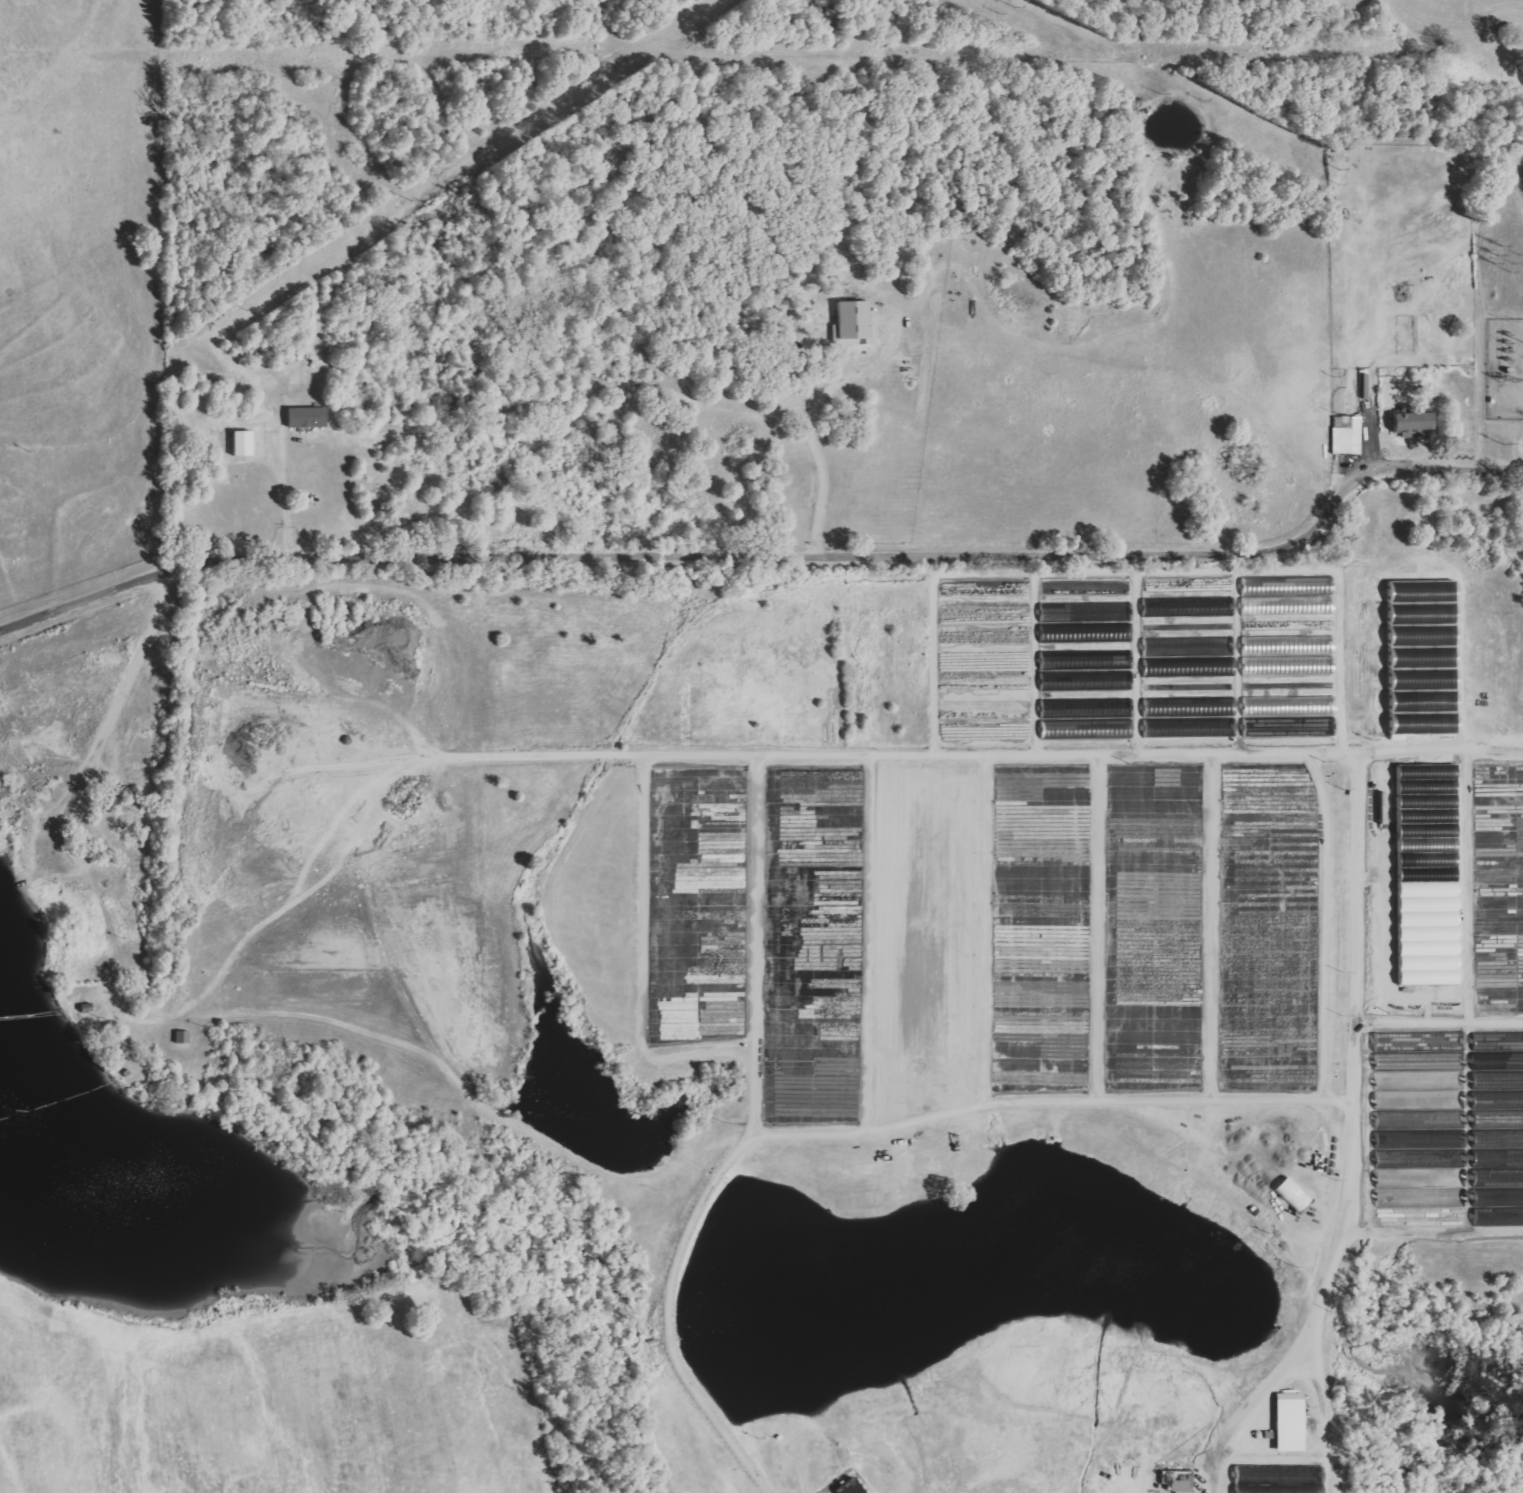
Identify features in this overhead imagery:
power tower: (1138, 71)
power tower: (565, 102)
power tower: (1339, 170)
power tower: (409, 201)
power tower: (1506, 251)
power tower: (244, 312)
building: (858, 324)
power tower: (1507, 350)
power tower: (1507, 380)
road: (811, 417)
building: (311, 418)
building: (1418, 424)
building: (1350, 435)
building: (248, 443)
power tower: (1500, 446)
power tower: (27, 451)
road: (283, 494)
road: (860, 552)
building: (1317, 585)
building: (1278, 598)
road: (83, 600)
building: (1191, 608)
building: (1281, 653)
building: (1193, 658)
building: (1429, 658)
building: (1292, 716)
building: (1193, 718)
building: (1116, 729)
building: (1071, 730)
road: (65, 800)
building: (1435, 870)
building: (186, 1038)
building: (1498, 1043)
building: (1396, 1050)
building: (1395, 1082)
building: (1395, 1109)
building: (1395, 1139)
road: (560, 1149)
building: (1294, 1423)
building: (1181, 1482)
building: (1272, 1482)
building: (856, 1487)

